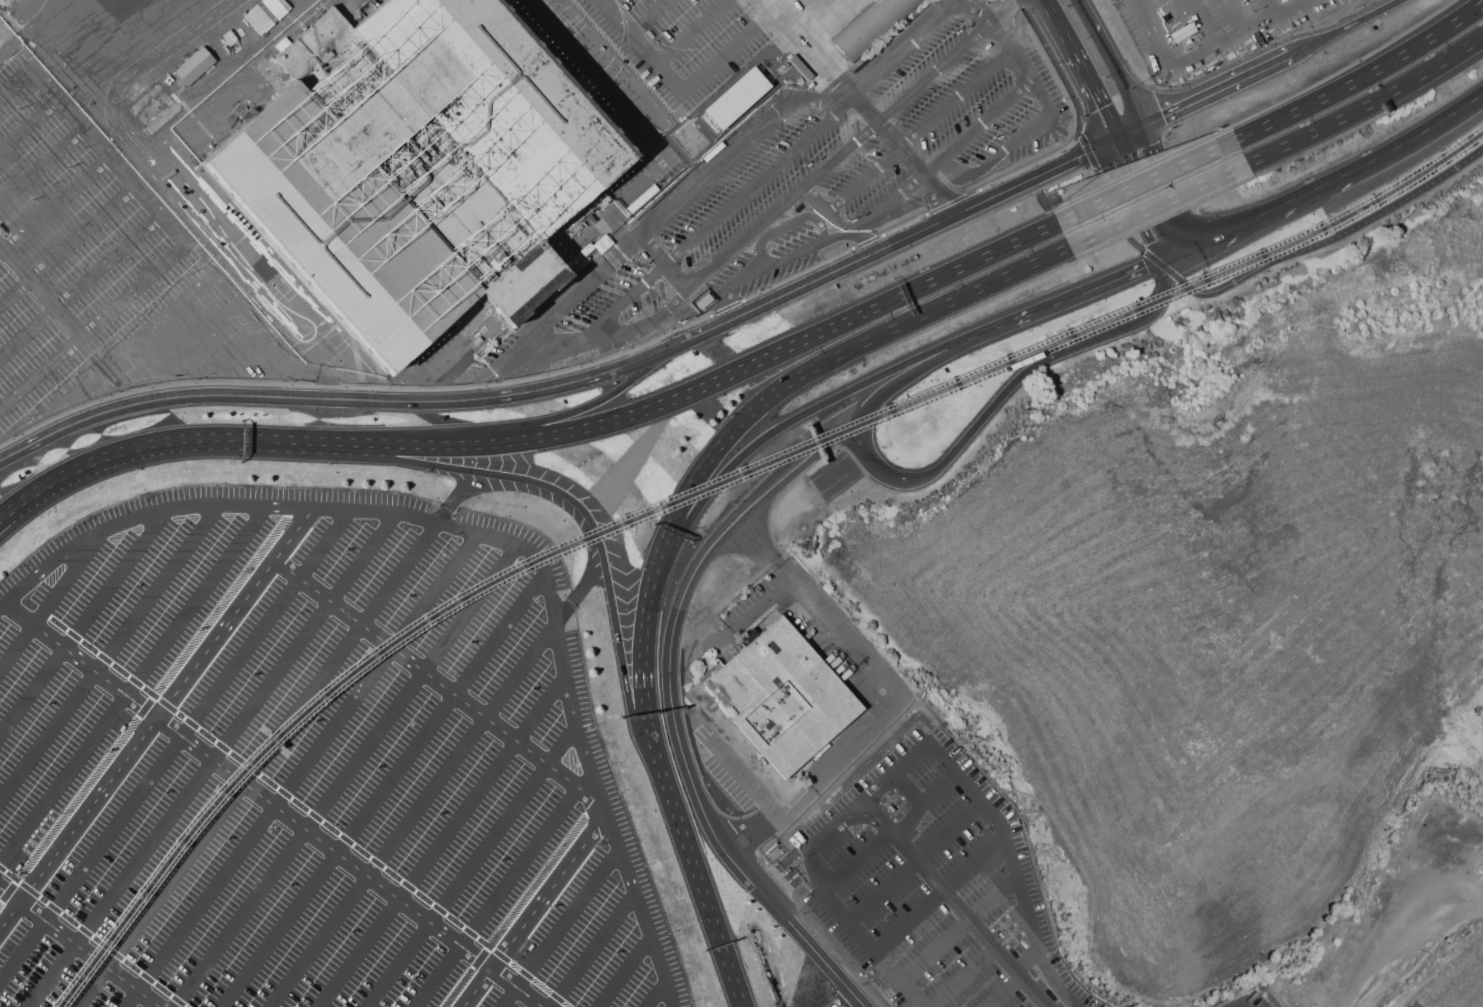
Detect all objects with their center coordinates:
road: (1311, 0)
road: (608, 2)
road: (769, 3)
road: (1275, 8)
road: (1296, 8)
building: (264, 14)
road: (649, 16)
road: (1233, 17)
building: (839, 18)
road: (1089, 19)
road: (930, 23)
road: (1198, 24)
road: (1060, 25)
building: (871, 26)
road: (1346, 27)
road: (689, 30)
parking lot: (1212, 31)
airport apron: (127, 39)
parking lot: (687, 39)
road: (811, 49)
airport apron: (707, 59)
road: (1187, 61)
building: (193, 65)
road: (1364, 75)
road: (15, 80)
road: (1122, 81)
road: (685, 82)
road: (1217, 88)
road: (1094, 94)
building: (735, 98)
road: (896, 102)
road: (1368, 103)
traffic signals: (1101, 108)
street lamp: (18, 109)
traffic signals: (1163, 114)
road: (29, 123)
road: (919, 131)
road: (1129, 132)
road: (1419, 134)
traffic signals: (1152, 146)
road: (1087, 147)
road: (1118, 148)
road: (1091, 151)
road: (905, 152)
road: (110, 154)
traffic signals: (1082, 156)
road: (994, 158)
road: (42, 163)
parking lot: (934, 163)
road: (932, 166)
street lamp: (70, 167)
building: (418, 174)
road: (1148, 179)
road: (1168, 185)
street lamp: (33, 200)
road: (55, 204)
road: (1159, 204)
road: (1144, 207)
road: (671, 208)
road: (1274, 208)
road: (715, 218)
road: (787, 223)
road: (1333, 233)
parking lot: (70, 237)
road: (68, 245)
road: (887, 246)
road: (728, 251)
road: (1180, 252)
parking lot: (775, 256)
road: (787, 257)
road: (662, 262)
road: (81, 285)
road: (40, 290)
road: (1090, 290)
road: (94, 326)
road: (996, 328)
road: (220, 334)
road: (679, 343)
road: (777, 353)
road: (1050, 359)
road: (818, 364)
road: (910, 374)
road: (585, 378)
road: (372, 400)
road: (109, 410)
road: (575, 412)
road: (789, 422)
road: (163, 445)
road: (391, 445)
road: (877, 468)
road: (519, 478)
railway: (706, 482)
railway: (713, 489)
airport: (741, 503)
road: (18, 505)
road: (443, 515)
road: (20, 516)
road: (491, 533)
road: (764, 553)
road: (50, 598)
road: (562, 612)
road: (758, 613)
road: (84, 622)
road: (109, 650)
road: (438, 682)
road: (133, 684)
road: (644, 689)
building: (785, 698)
road: (889, 703)
road: (147, 706)
road: (672, 711)
road: (157, 717)
road: (639, 730)
road: (176, 744)
road: (213, 759)
road: (258, 763)
parking lot: (311, 766)
road: (303, 768)
road: (953, 769)
road: (346, 774)
road: (736, 777)
road: (910, 787)
road: (383, 789)
road: (274, 805)
road: (305, 809)
road: (412, 814)
road: (891, 832)
road: (749, 834)
road: (441, 841)
road: (813, 851)
road: (916, 860)
road: (472, 866)
parking lot: (925, 879)
road: (938, 891)
road: (495, 897)
road: (993, 899)
road: (520, 903)
road: (706, 903)
road: (954, 905)
road: (534, 911)
road: (855, 925)
road: (560, 928)
road: (93, 936)
road: (79, 946)
road: (1040, 947)
road: (592, 950)
road: (936, 950)
road: (1424, 953)
road: (1026, 957)
road: (624, 972)
road: (961, 978)
road: (1005, 993)
road: (656, 994)
parking lot: (1250, 999)
road: (844, 1000)
road: (1046, 1006)

